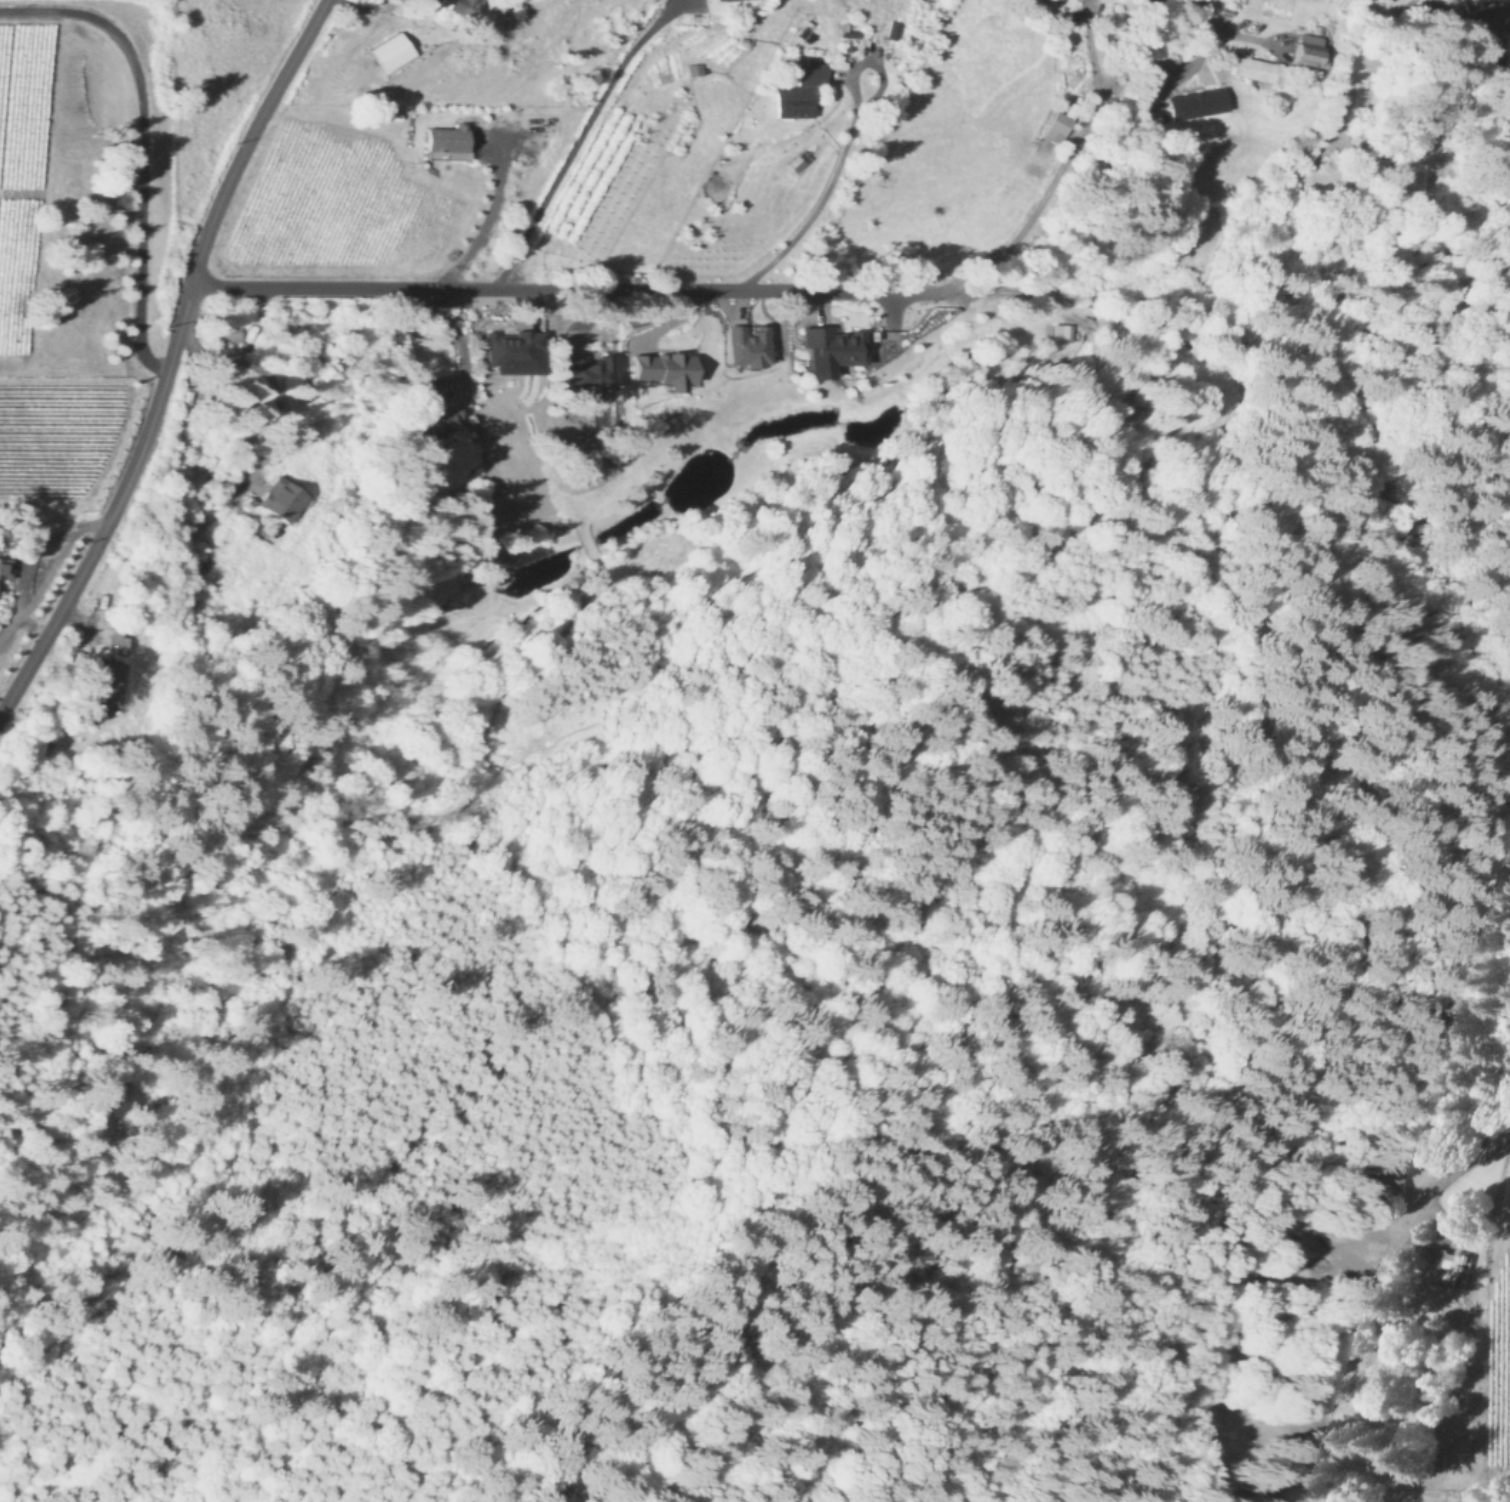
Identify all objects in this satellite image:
building: (1057, 0)
building: (1476, 1)
building: (467, 7)
road: (375, 9)
road: (1207, 16)
building: (1311, 49)
building: (393, 50)
building: (1259, 67)
building: (695, 68)
building: (802, 92)
building: (1198, 102)
road: (263, 113)
building: (1061, 123)
road: (588, 136)
building: (449, 141)
road: (141, 148)
building: (799, 160)
road: (830, 190)
road: (484, 226)
road: (618, 289)
building: (1062, 331)
building: (231, 333)
road: (457, 333)
building: (748, 344)
building: (833, 348)
building: (516, 350)
building: (665, 368)
building: (588, 371)
road: (271, 380)
building: (441, 417)
building: (200, 468)
road: (125, 480)
building: (283, 498)
building: (5, 567)
building: (119, 643)
crop: (17, 654)
building: (113, 680)
building: (1453, 1269)
road: (1368, 1294)

